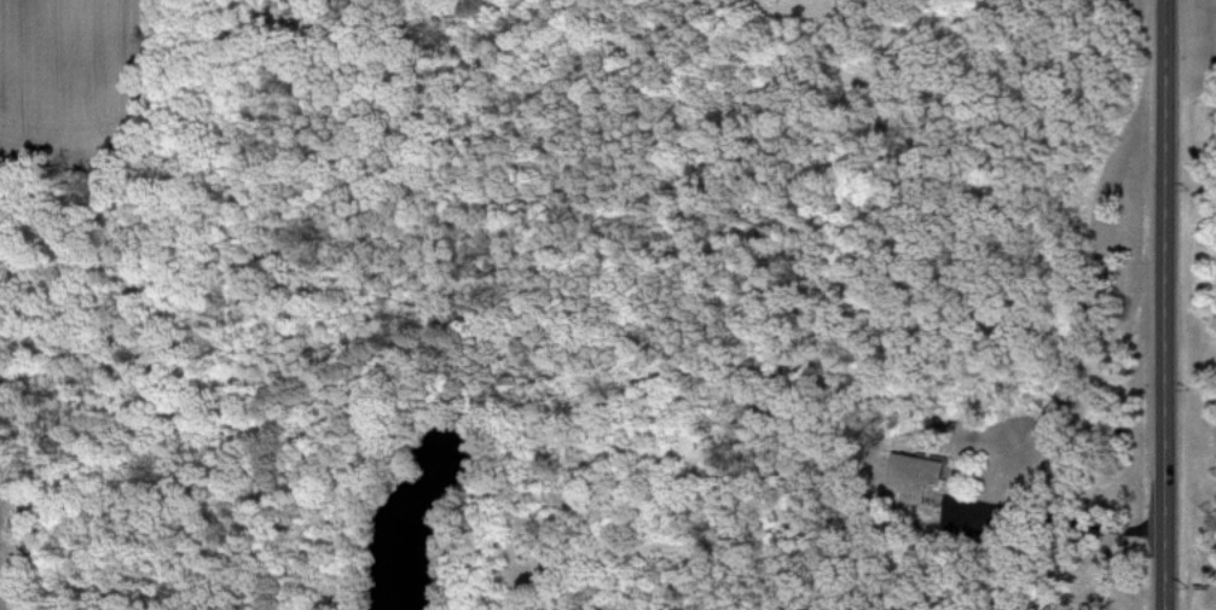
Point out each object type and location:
road: (1165, 304)
building: (938, 472)
road: (1060, 515)

